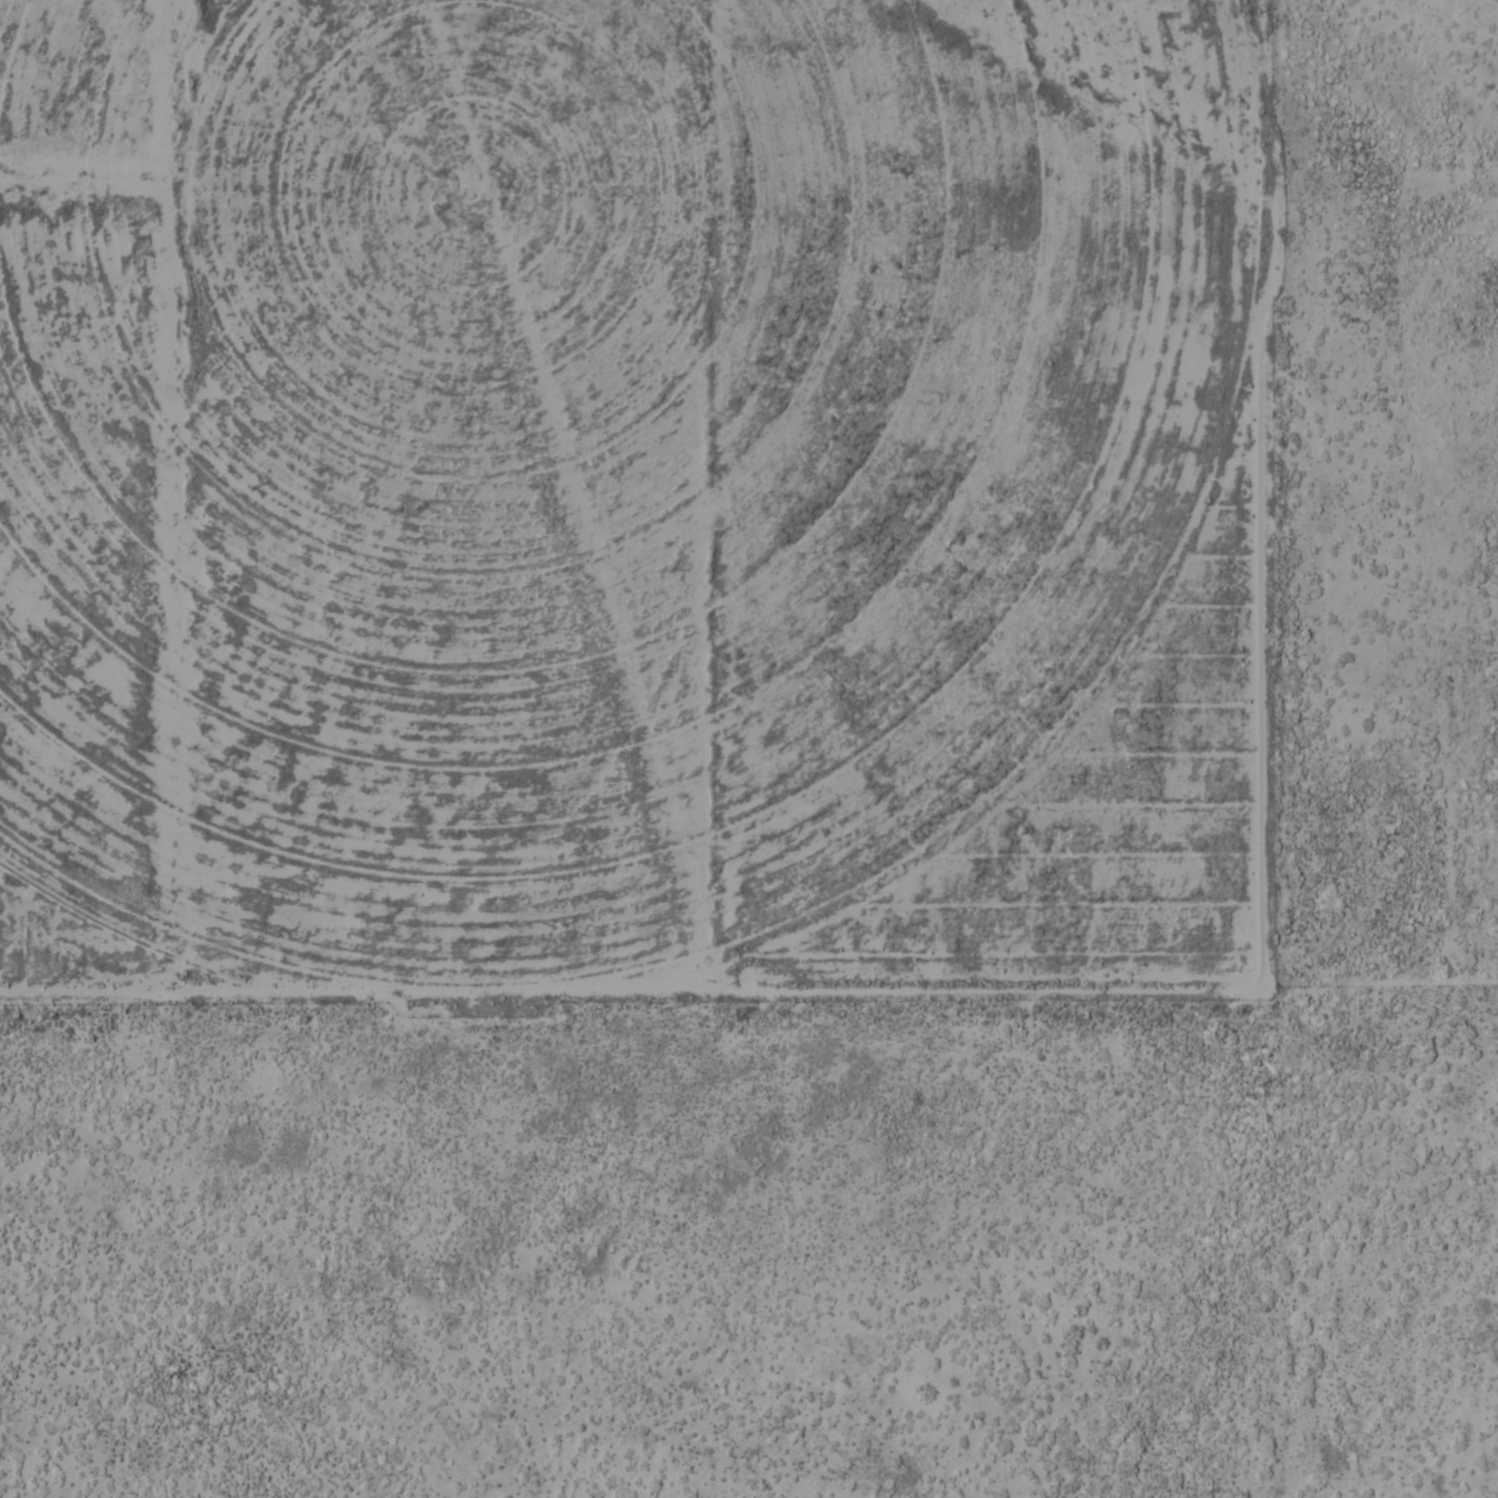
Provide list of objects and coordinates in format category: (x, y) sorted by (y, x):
road: (1301, 746)

